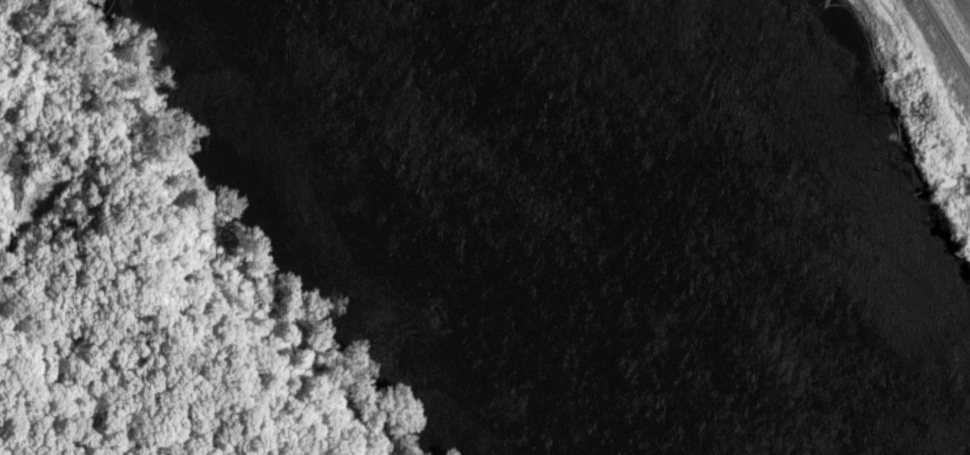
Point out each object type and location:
road: (946, 37)
river: (719, 227)

